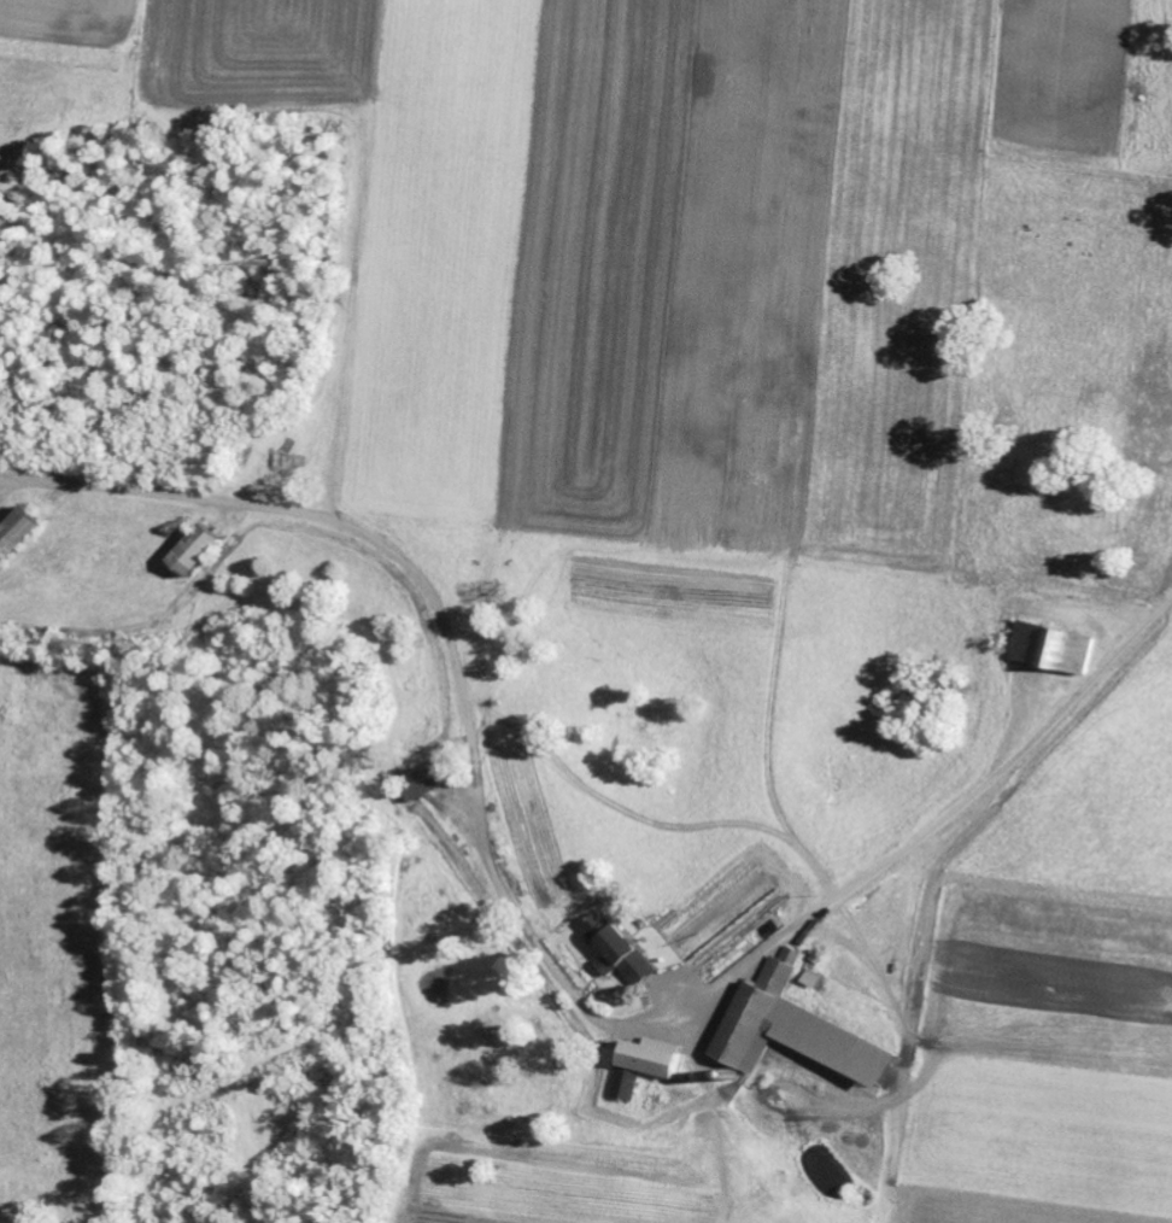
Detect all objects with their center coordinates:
building: (17, 534)
building: (194, 550)
building: (1051, 648)
building: (427, 780)
road: (938, 821)
building: (616, 950)
building: (810, 979)
building: (791, 1030)

